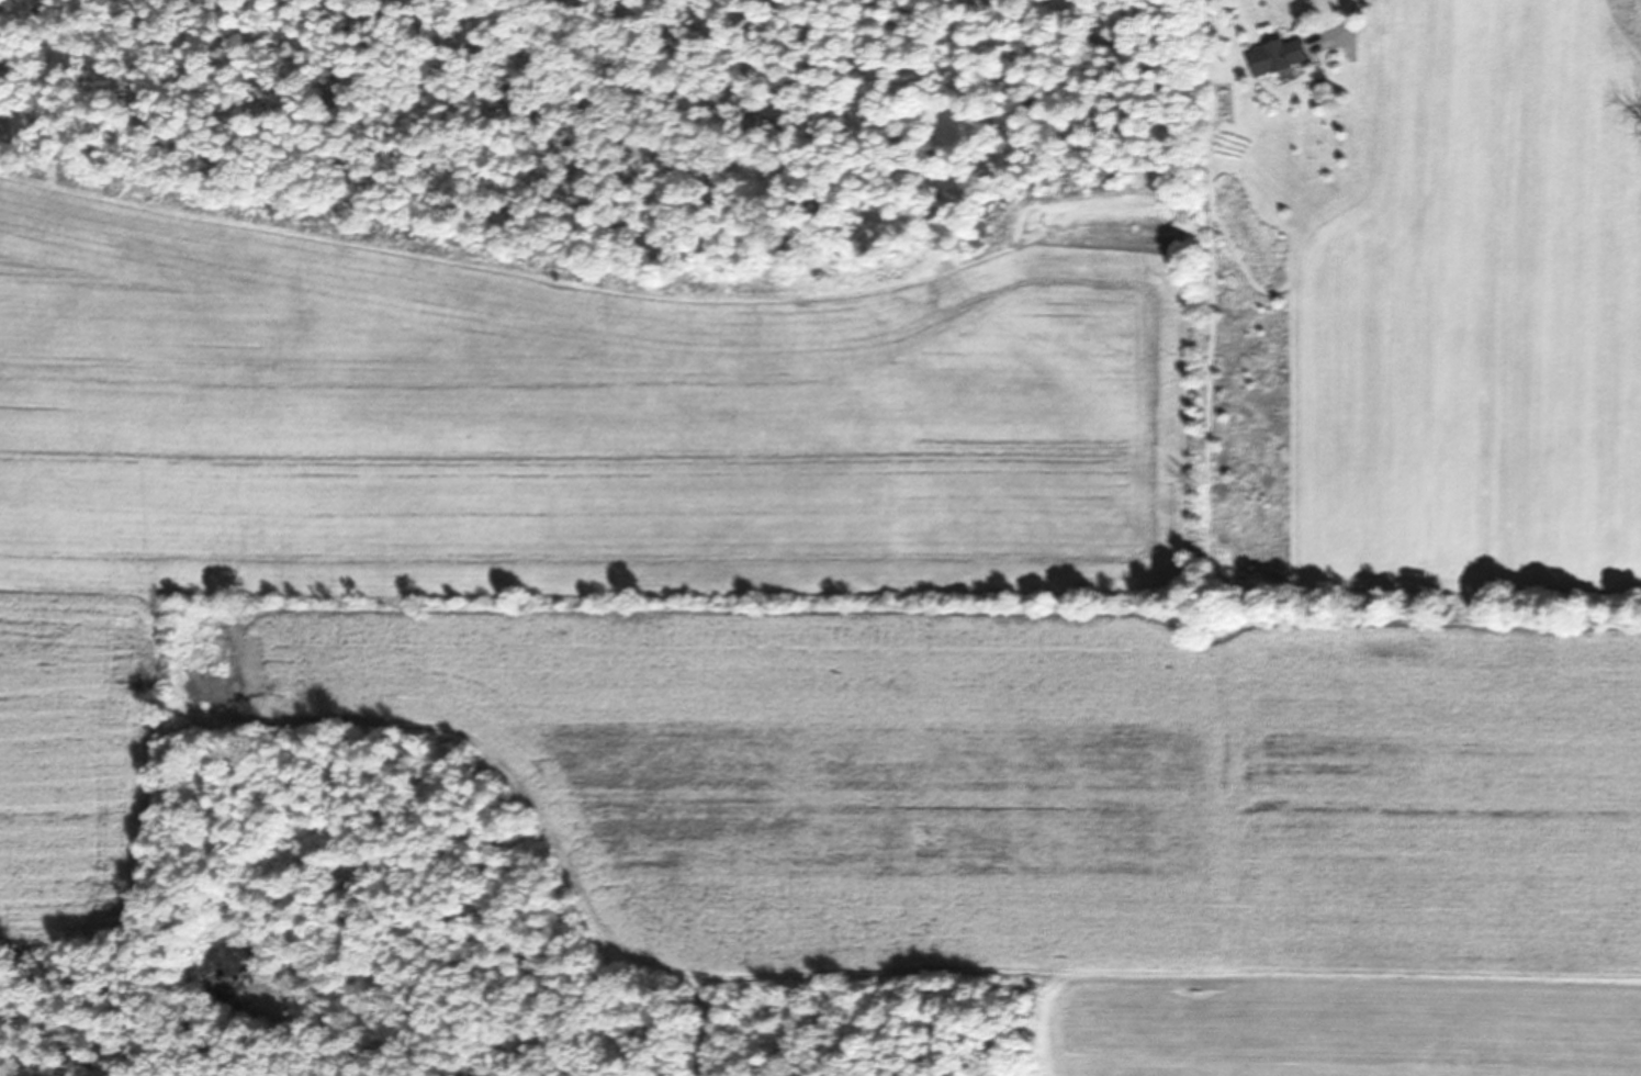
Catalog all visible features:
building: (1281, 56)
crop: (801, 631)

